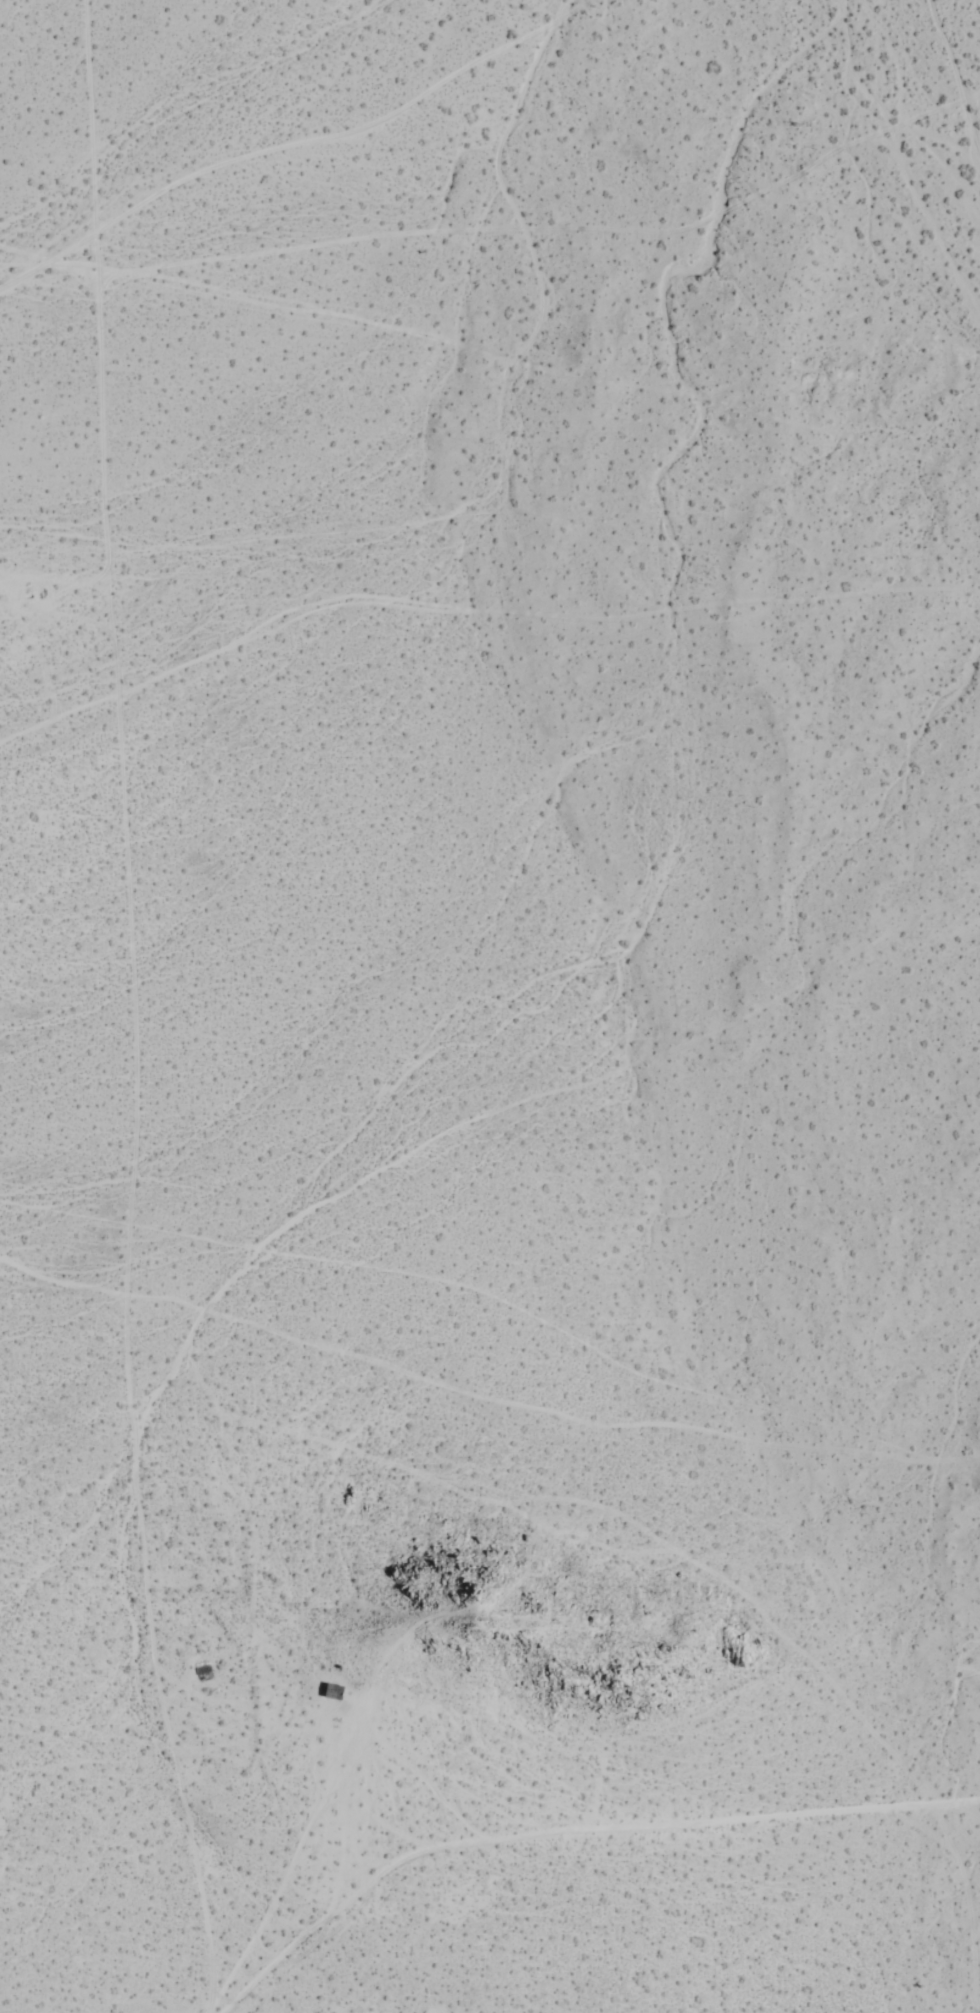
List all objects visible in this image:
road: (283, 1865)

